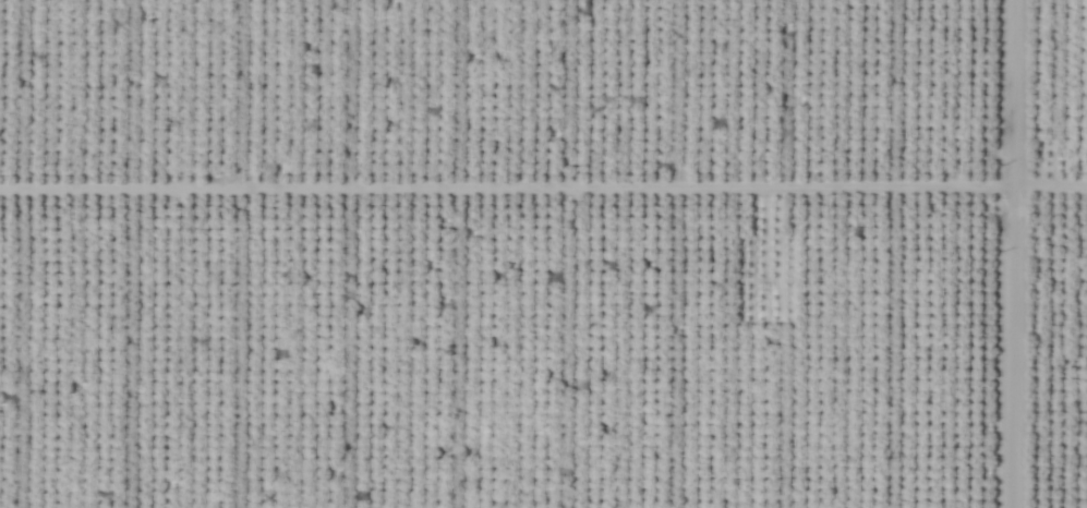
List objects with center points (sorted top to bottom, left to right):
road: (1014, 254)

